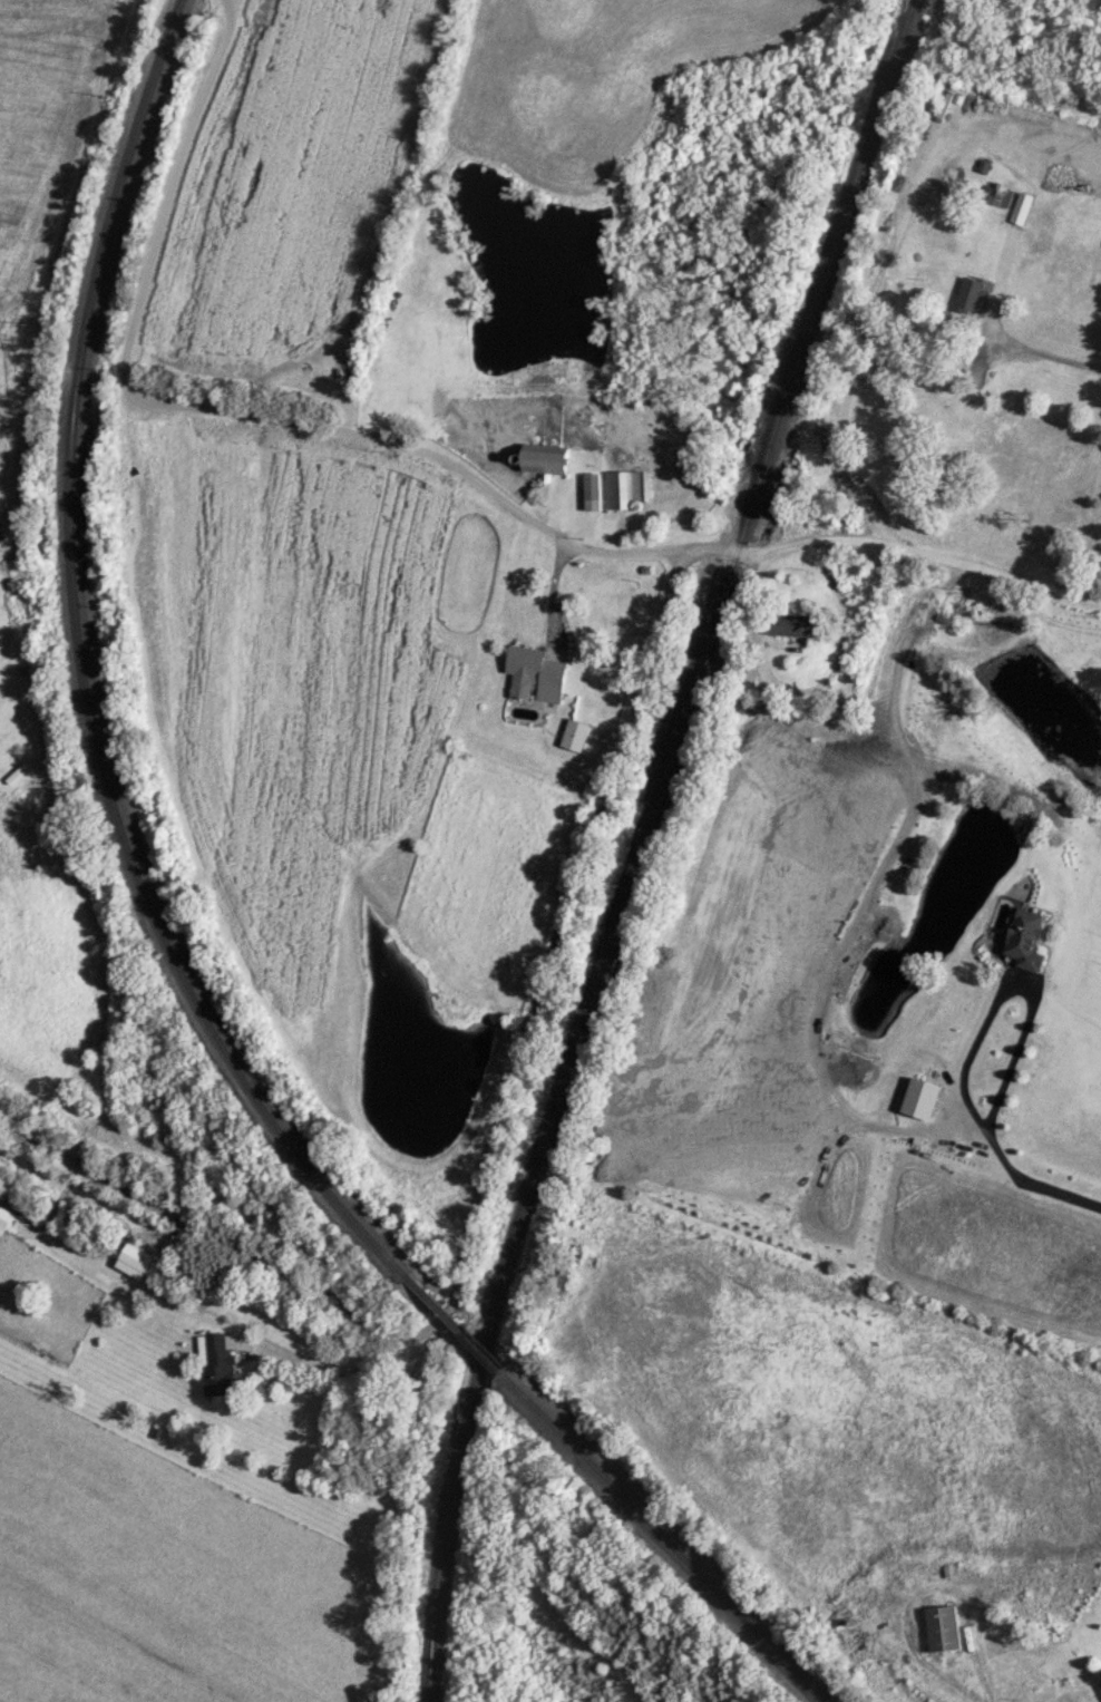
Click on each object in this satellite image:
building: (971, 293)
road: (863, 329)
road: (1050, 359)
road: (220, 410)
building: (546, 460)
building: (592, 486)
building: (624, 488)
building: (791, 624)
railway: (80, 674)
building: (534, 674)
building: (574, 735)
railway: (639, 843)
building: (1024, 938)
road: (542, 967)
road: (1011, 982)
building: (919, 1098)
road: (1034, 1181)
building: (3, 1218)
building: (133, 1261)
road: (206, 1315)
railway: (451, 1325)
building: (216, 1365)
railway: (660, 1539)
building: (942, 1628)
building: (1100, 1684)
road: (975, 1692)

